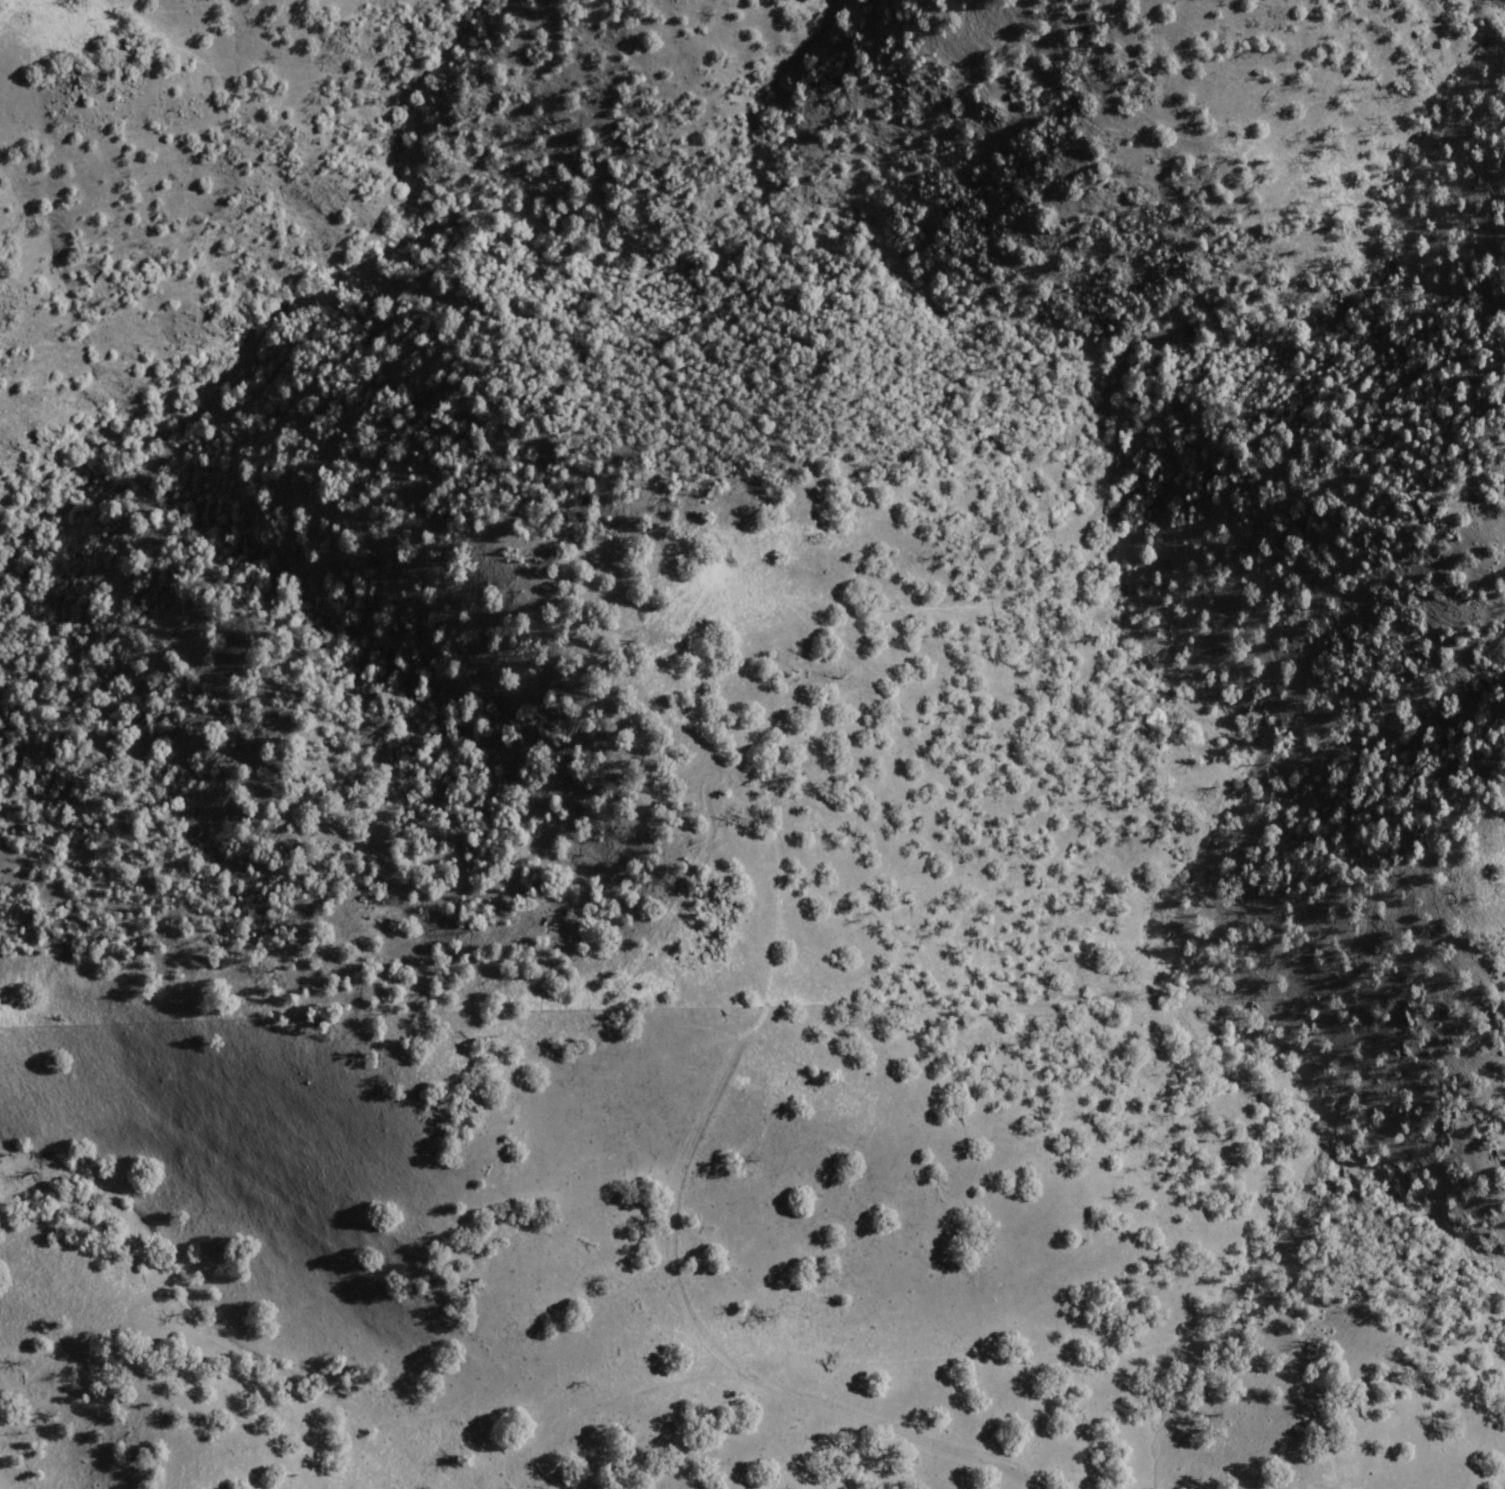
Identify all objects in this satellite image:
road: (684, 1329)

